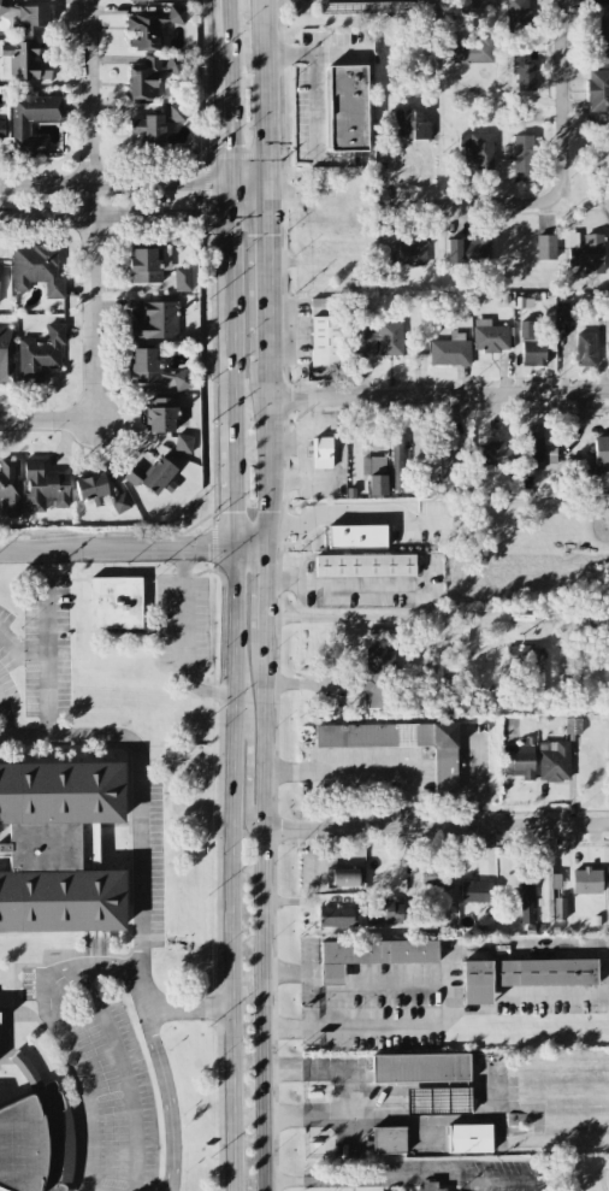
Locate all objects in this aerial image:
building: (596, 0)
building: (475, 4)
road: (303, 6)
building: (342, 6)
road: (438, 11)
building: (176, 12)
building: (518, 14)
building: (29, 17)
building: (144, 26)
building: (601, 41)
building: (469, 49)
road: (341, 51)
building: (24, 60)
building: (524, 69)
building: (152, 73)
road: (315, 73)
building: (598, 89)
road: (224, 92)
road: (261, 92)
building: (347, 106)
building: (176, 111)
building: (413, 123)
building: (1, 128)
building: (20, 128)
building: (146, 129)
building: (475, 148)
building: (518, 157)
road: (560, 160)
road: (122, 181)
traffic signals: (244, 181)
road: (243, 197)
road: (88, 211)
road: (120, 214)
traffic signals: (243, 214)
road: (243, 220)
building: (545, 246)
building: (468, 249)
building: (407, 250)
building: (589, 252)
building: (148, 263)
building: (36, 267)
building: (183, 277)
road: (261, 295)
building: (604, 308)
road: (229, 309)
building: (564, 312)
building: (156, 319)
building: (325, 330)
building: (489, 335)
building: (384, 337)
building: (534, 343)
building: (585, 348)
building: (41, 349)
building: (449, 349)
building: (607, 350)
building: (6, 353)
building: (144, 365)
building: (182, 378)
road: (436, 395)
road: (264, 409)
building: (160, 413)
road: (46, 423)
building: (183, 442)
building: (601, 449)
building: (321, 450)
building: (496, 452)
building: (538, 452)
building: (396, 461)
building: (445, 461)
road: (231, 472)
building: (374, 472)
building: (153, 474)
building: (90, 484)
building: (45, 485)
building: (8, 487)
road: (265, 501)
building: (119, 502)
road: (348, 512)
building: (356, 535)
road: (129, 552)
building: (363, 564)
building: (116, 601)
road: (401, 617)
road: (182, 639)
road: (48, 643)
road: (18, 650)
building: (522, 664)
building: (378, 676)
road: (5, 718)
building: (572, 724)
road: (23, 733)
building: (400, 742)
building: (519, 757)
building: (554, 760)
road: (247, 762)
road: (362, 768)
road: (137, 809)
road: (434, 827)
building: (59, 848)
road: (231, 869)
road: (260, 869)
building: (433, 874)
building: (586, 879)
building: (608, 880)
building: (477, 890)
building: (548, 891)
building: (524, 902)
building: (558, 907)
building: (383, 910)
building: (337, 915)
road: (577, 947)
building: (371, 954)
building: (522, 974)
road: (141, 984)
road: (360, 984)
road: (189, 1006)
building: (0, 1019)
road: (389, 1025)
road: (66, 1044)
building: (22, 1063)
building: (420, 1066)
road: (168, 1098)
building: (439, 1098)
road: (320, 1108)
building: (469, 1137)
building: (388, 1138)
building: (31, 1157)
road: (498, 1175)
road: (365, 1177)
building: (430, 1185)

